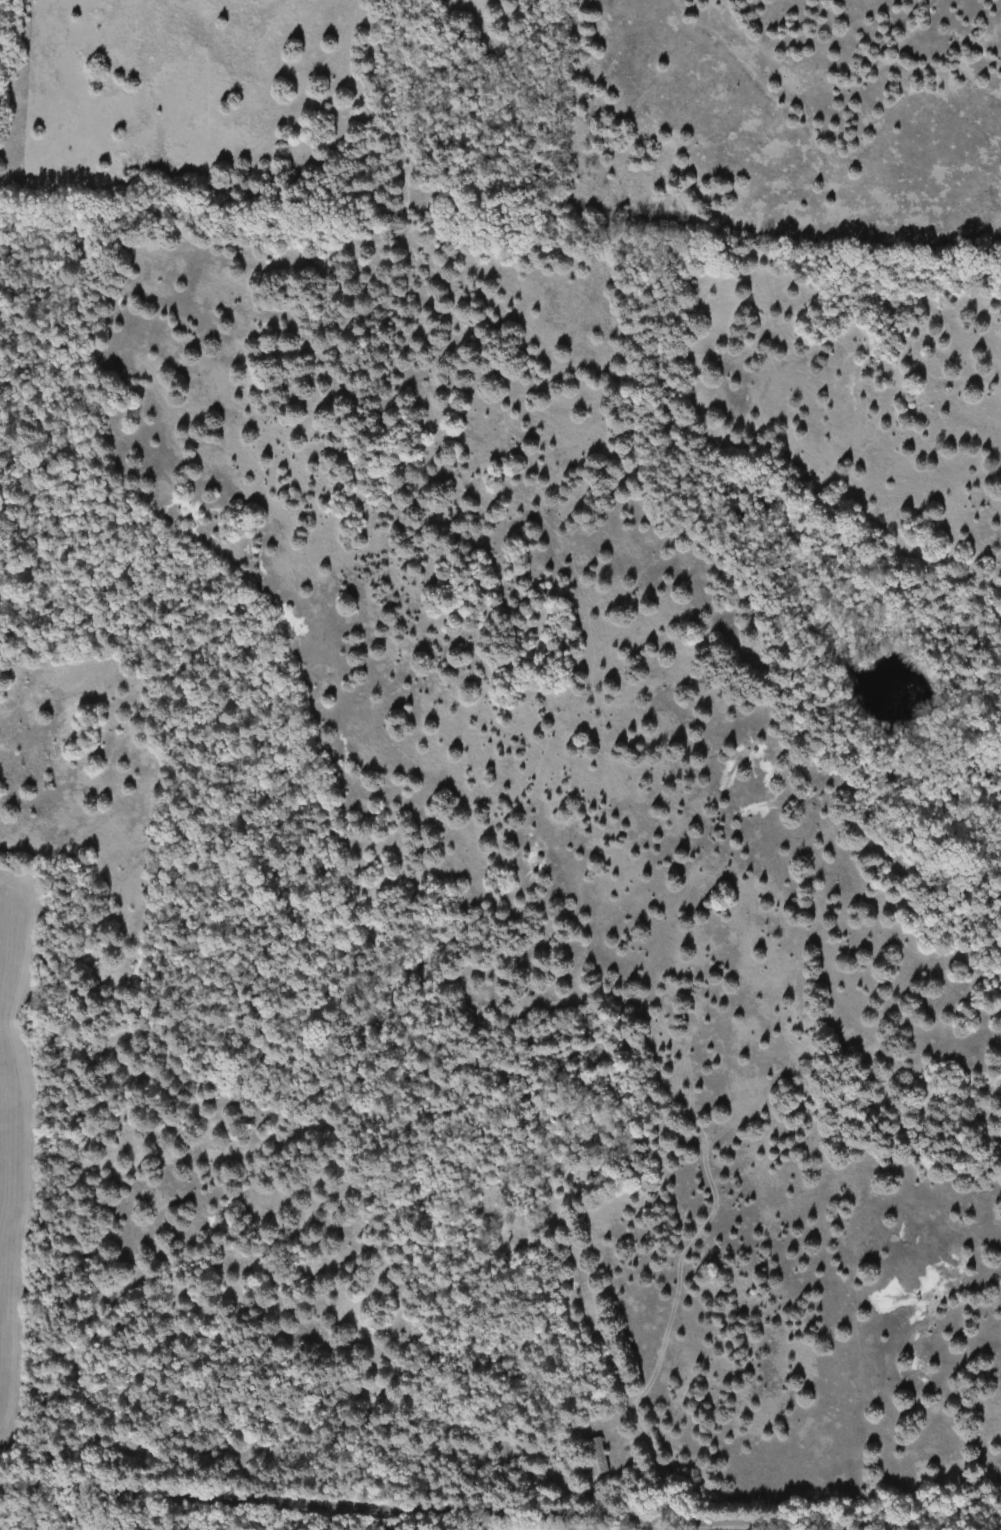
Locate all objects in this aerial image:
building: (598, 1455)
road: (500, 1510)
road: (696, 1525)

